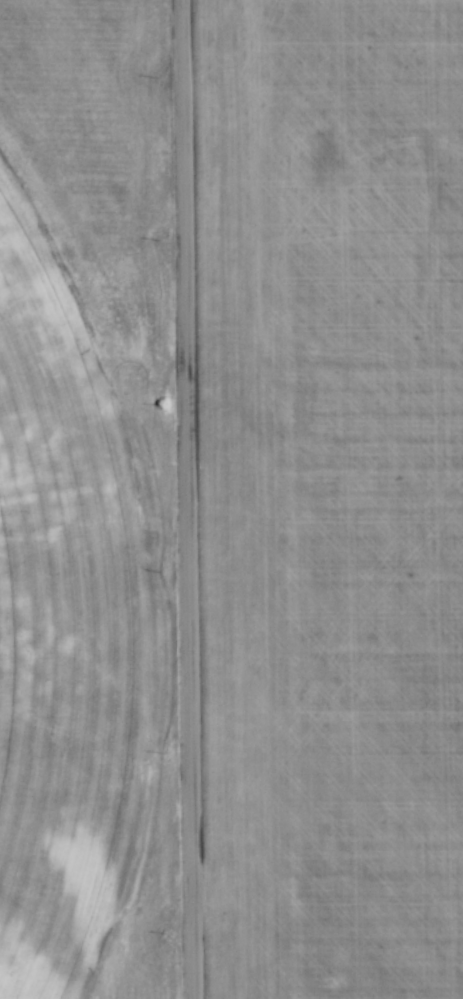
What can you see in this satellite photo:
crop: (331, 495)
road: (182, 499)
crop: (81, 502)

